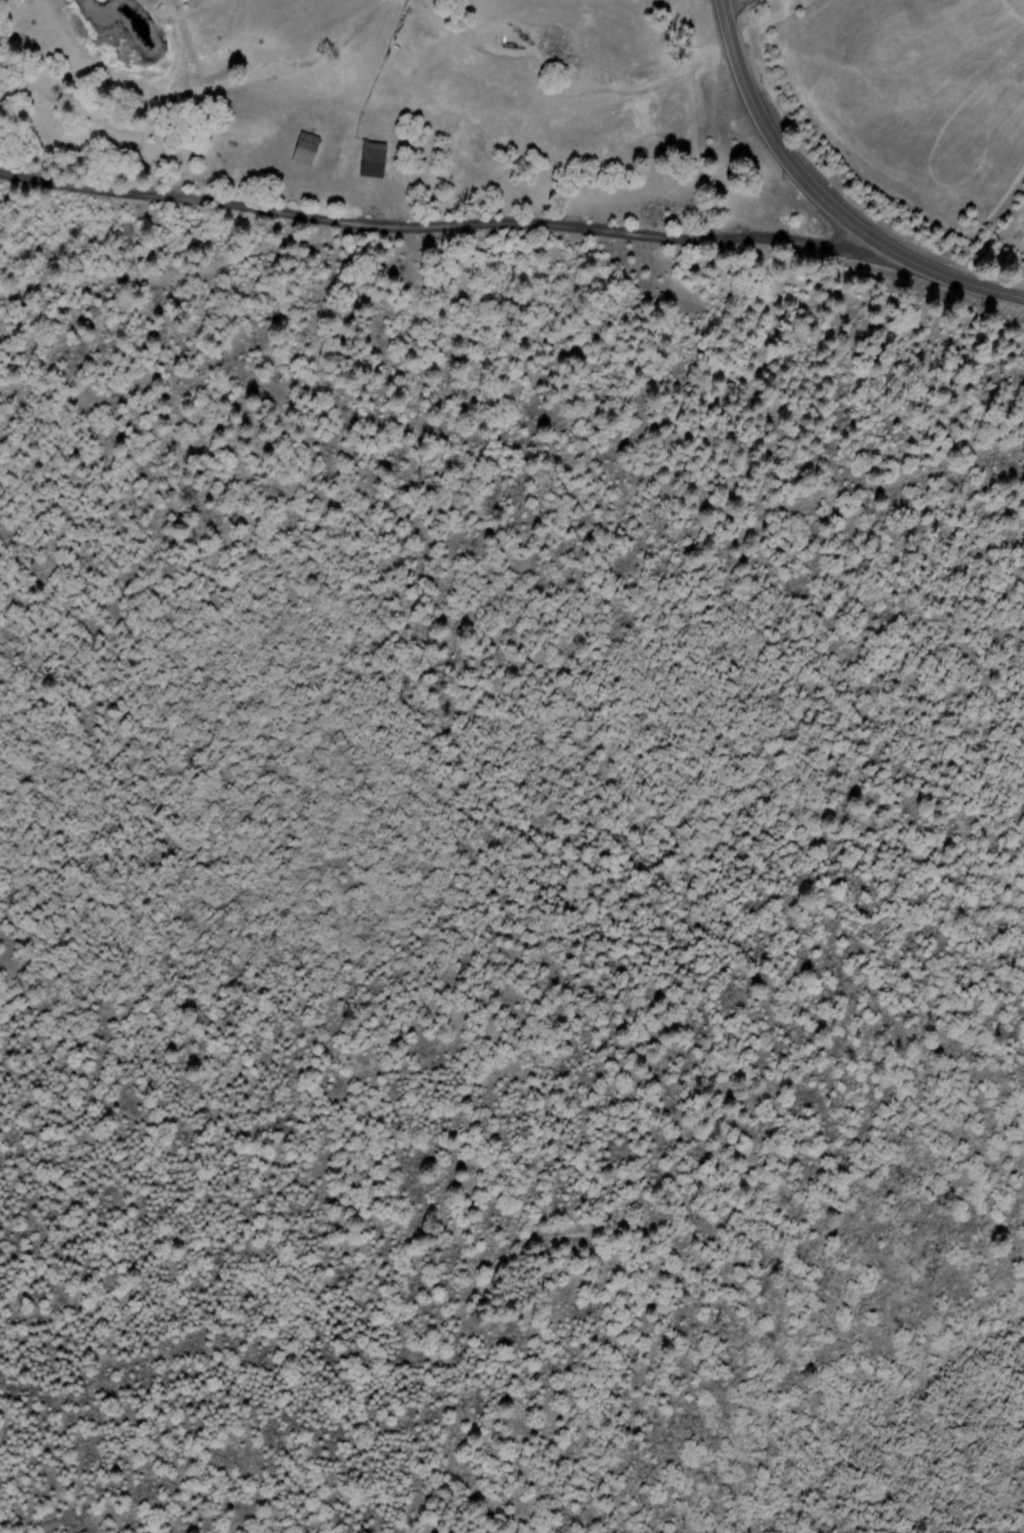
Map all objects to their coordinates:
building: (306, 148)
building: (374, 159)
road: (820, 201)
road: (424, 229)

